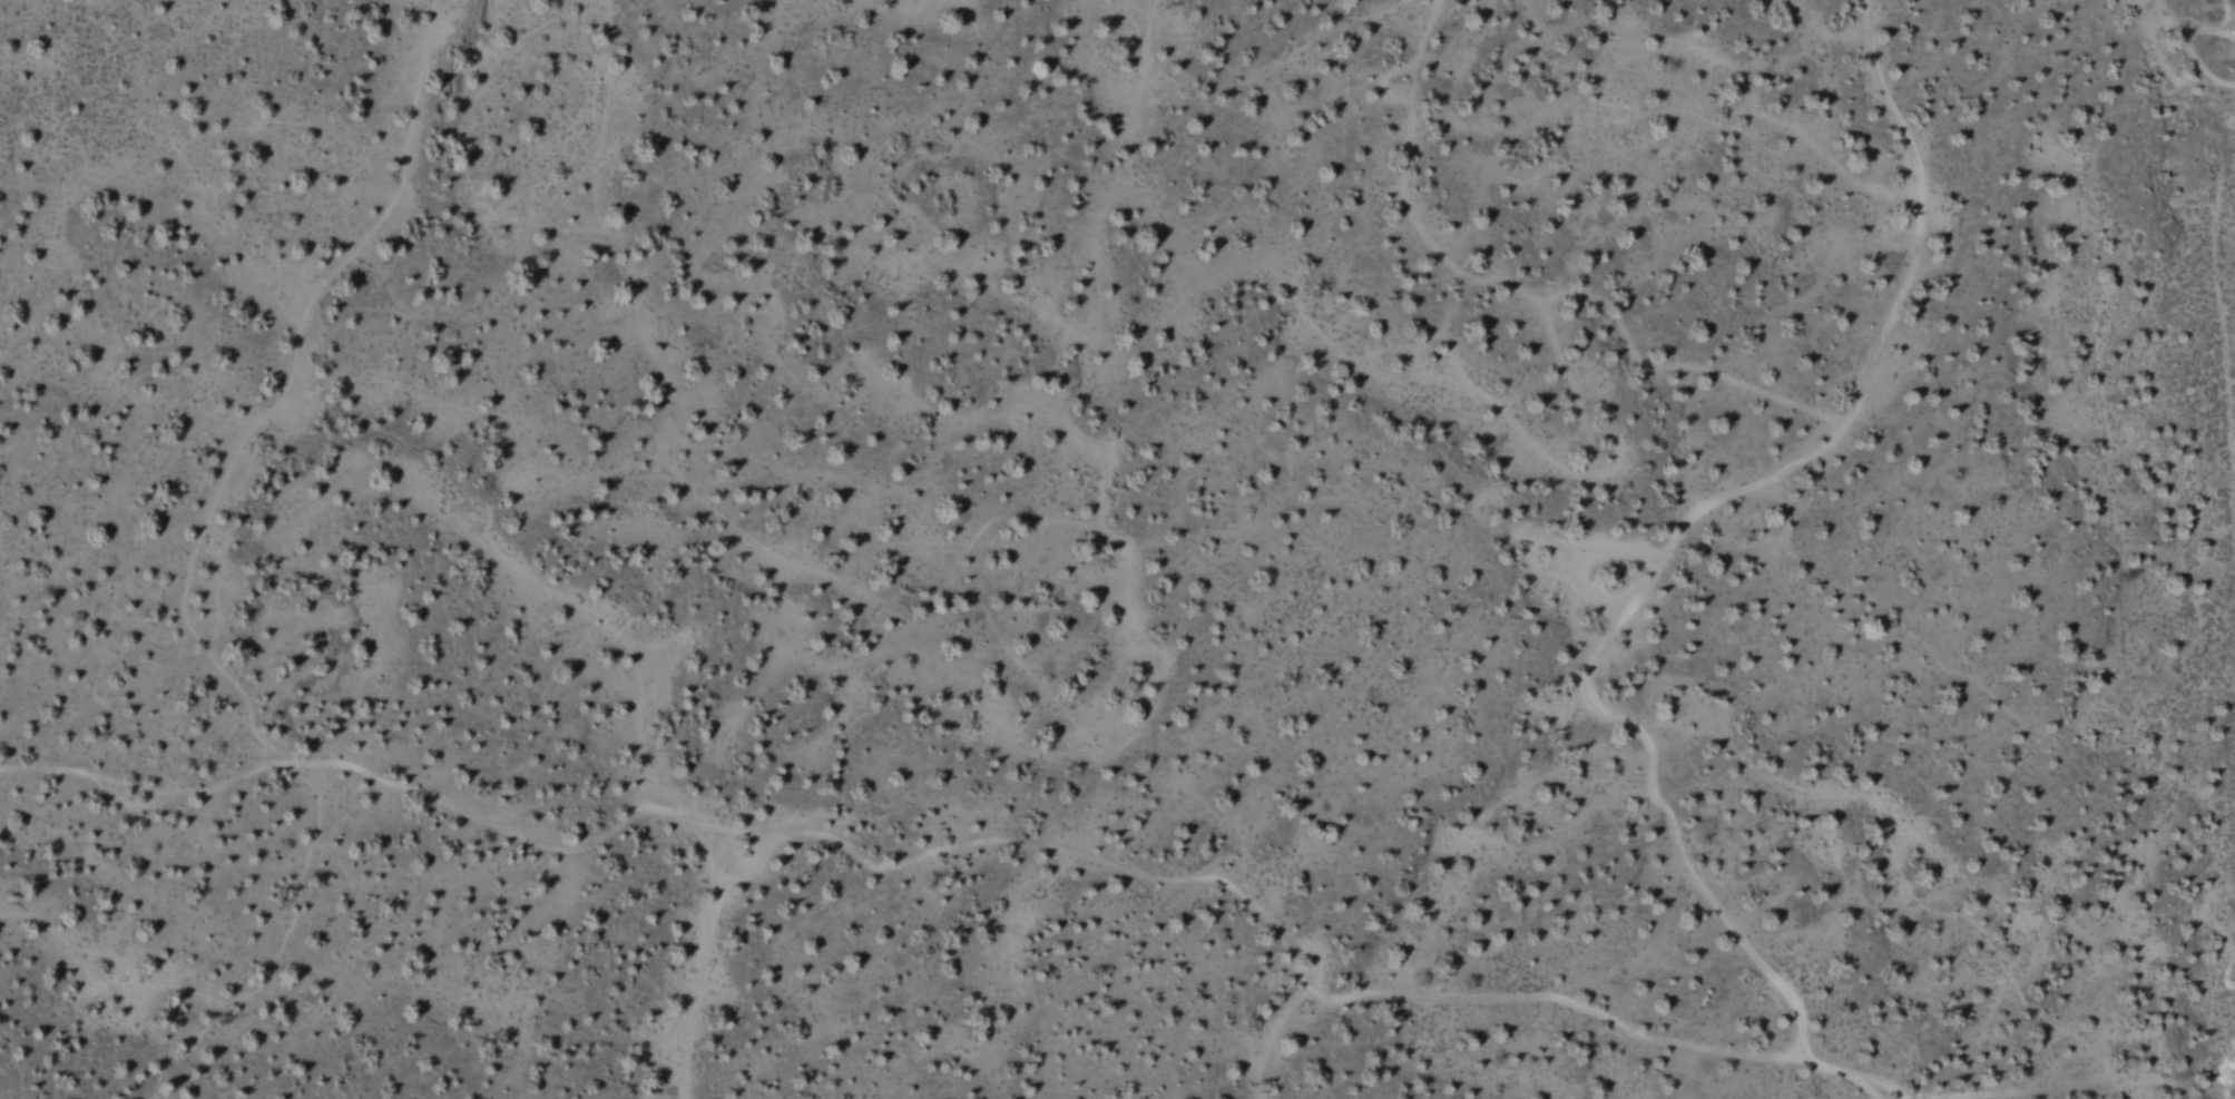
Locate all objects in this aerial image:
road: (1507, 285)
road: (1537, 451)
road: (1684, 526)
road: (1069, 853)
road: (702, 951)
road: (1899, 1095)

